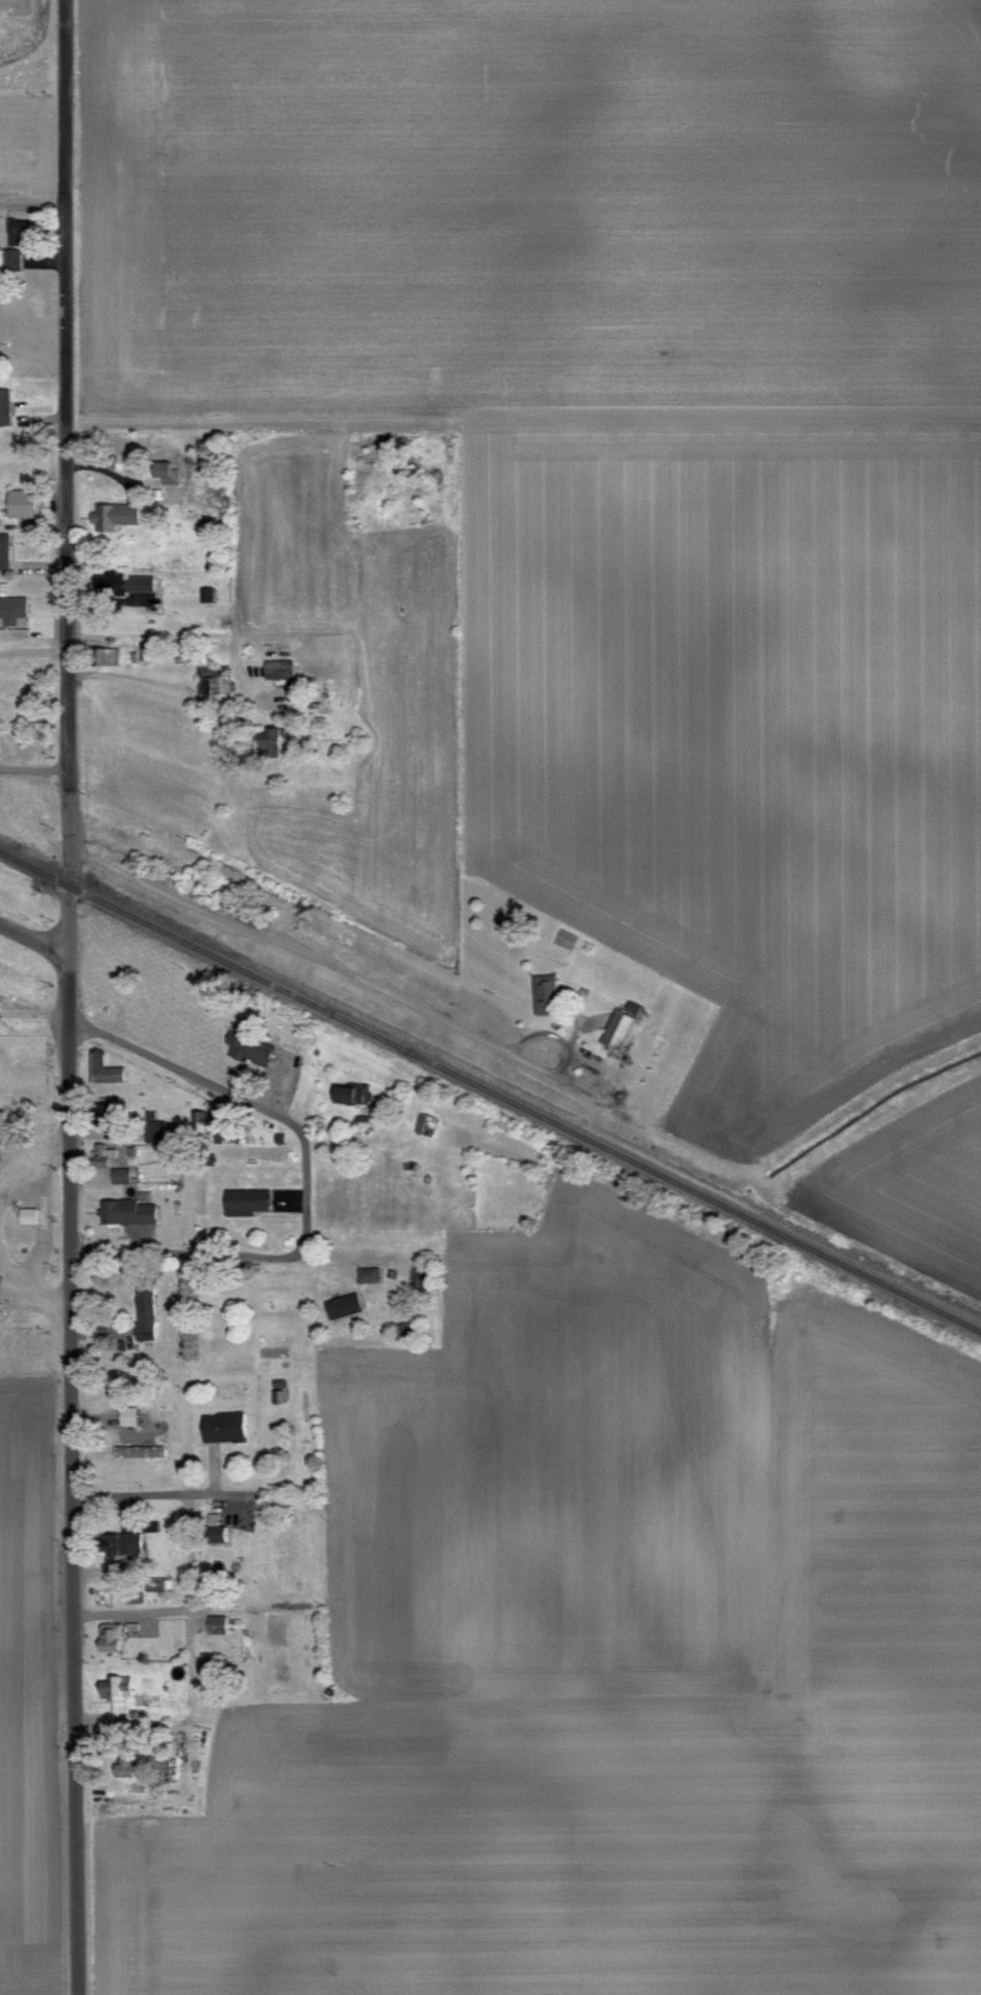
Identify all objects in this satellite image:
building: (22, 231)
building: (6, 405)
building: (24, 501)
crop: (19, 509)
building: (119, 513)
building: (6, 549)
building: (126, 580)
building: (204, 591)
building: (10, 606)
road: (33, 649)
building: (137, 652)
building: (104, 653)
building: (276, 666)
building: (218, 678)
road: (171, 686)
building: (267, 740)
road: (33, 767)
road: (32, 939)
road: (362, 978)
building: (541, 991)
road: (66, 997)
road: (32, 1011)
building: (615, 1027)
building: (249, 1045)
building: (102, 1067)
road: (181, 1068)
railway: (490, 1089)
building: (348, 1091)
building: (198, 1118)
building: (150, 1125)
building: (117, 1172)
building: (242, 1198)
building: (124, 1211)
building: (25, 1213)
road: (180, 1249)
building: (365, 1272)
building: (341, 1303)
building: (125, 1413)
building: (221, 1424)
building: (134, 1449)
road: (165, 1495)
building: (208, 1521)
building: (118, 1538)
road: (131, 1610)
building: (214, 1622)
building: (106, 1635)
building: (112, 1683)
road: (181, 1716)
building: (159, 1761)
building: (121, 1765)

